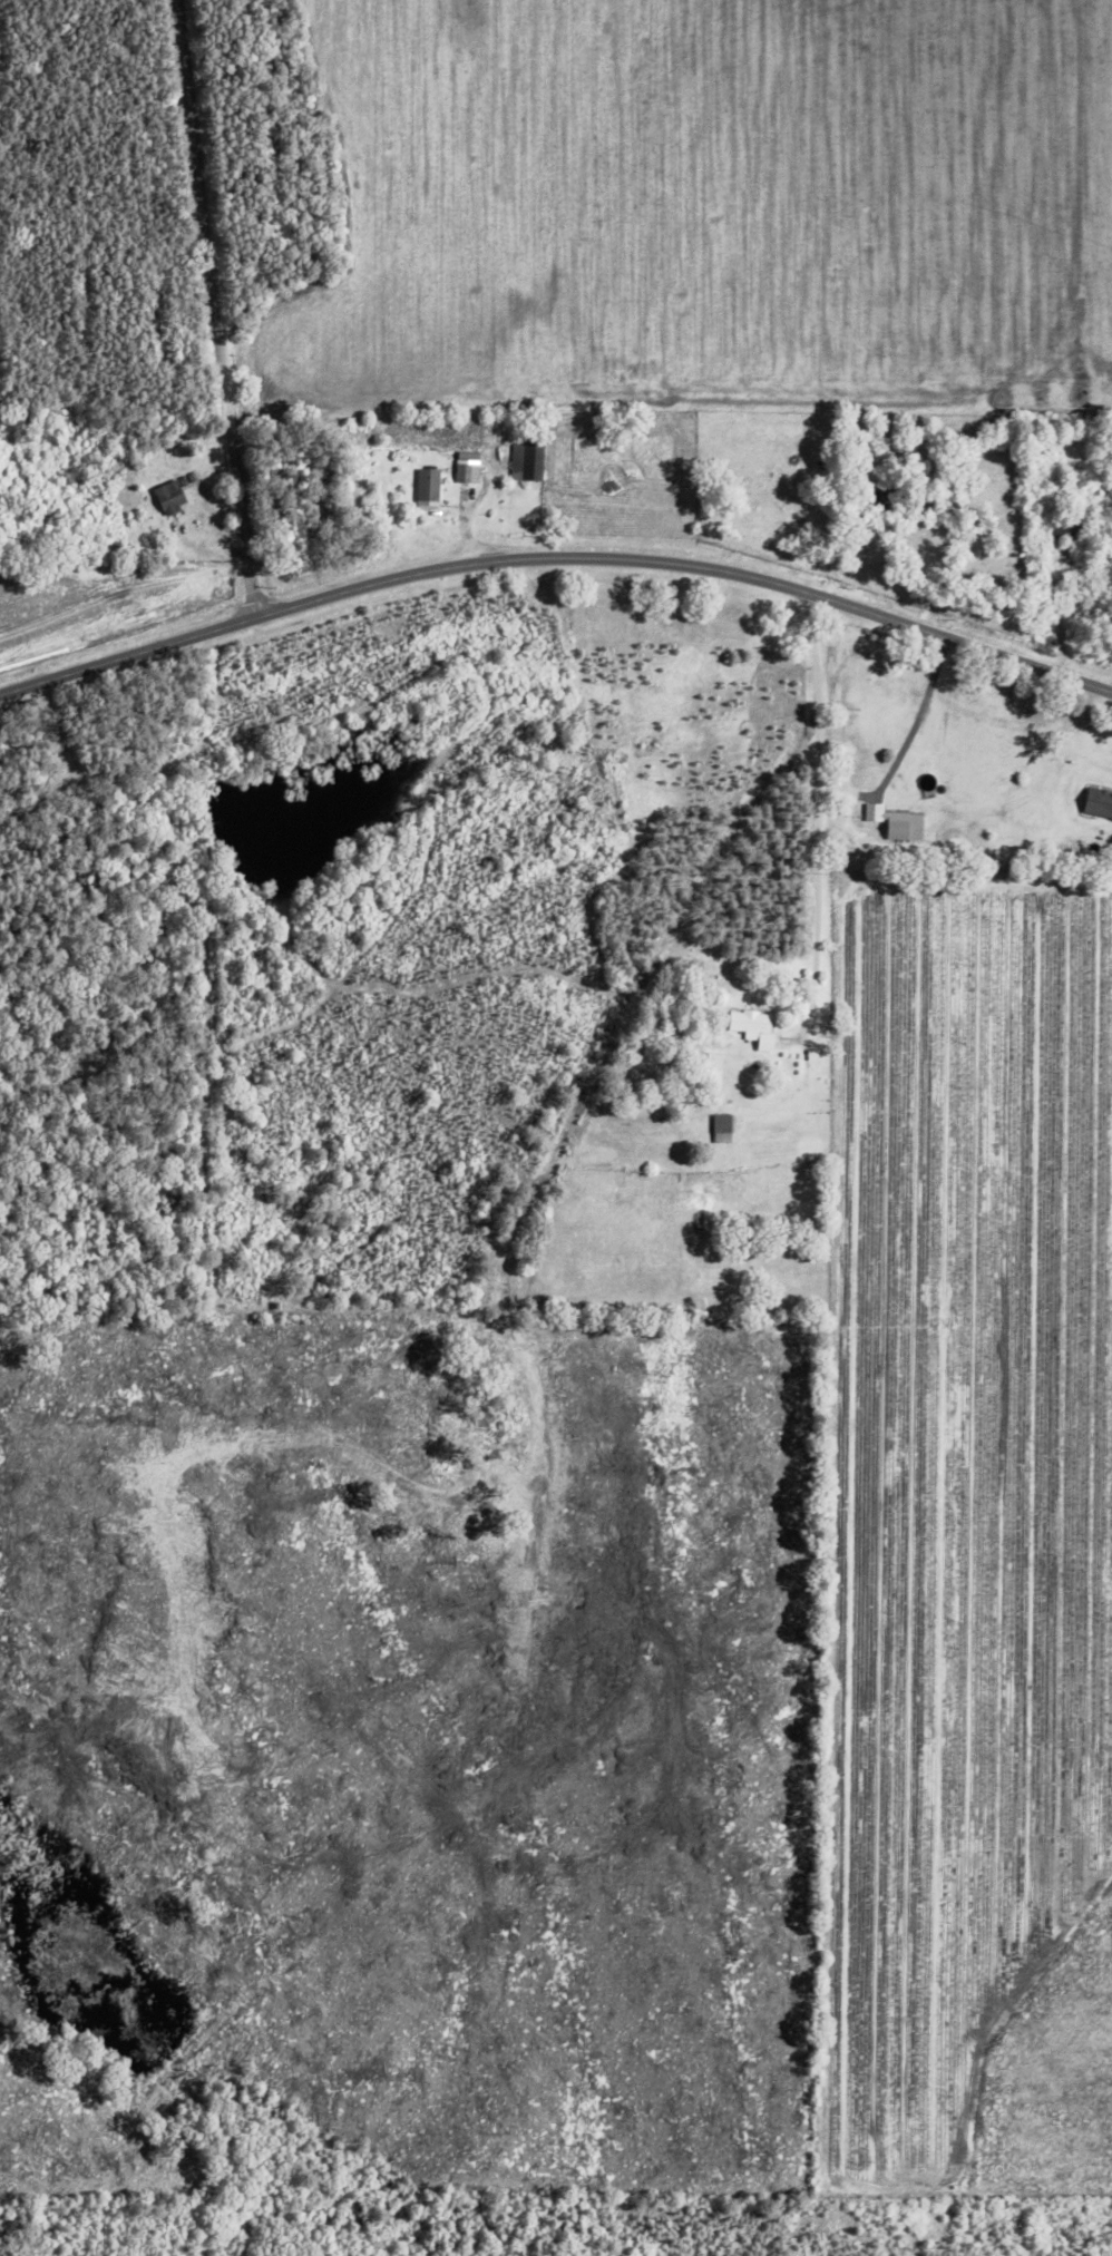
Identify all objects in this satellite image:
road: (218, 304)
road: (994, 437)
building: (528, 459)
building: (469, 469)
building: (429, 488)
building: (174, 497)
road: (558, 556)
road: (921, 715)
road: (1092, 739)
building: (1100, 801)
building: (900, 821)
road: (825, 838)
road: (631, 1007)
building: (758, 1027)

